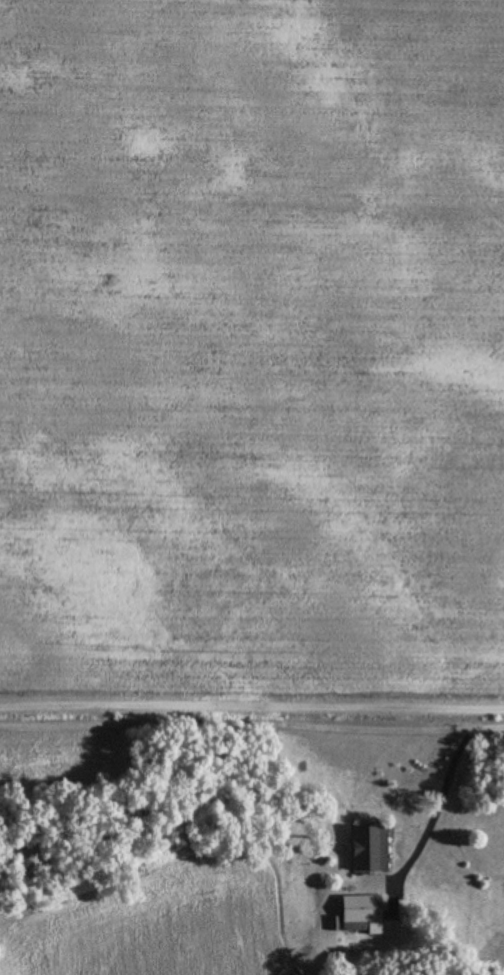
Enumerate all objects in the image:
road: (251, 700)
road: (450, 772)
building: (370, 847)
building: (362, 909)

